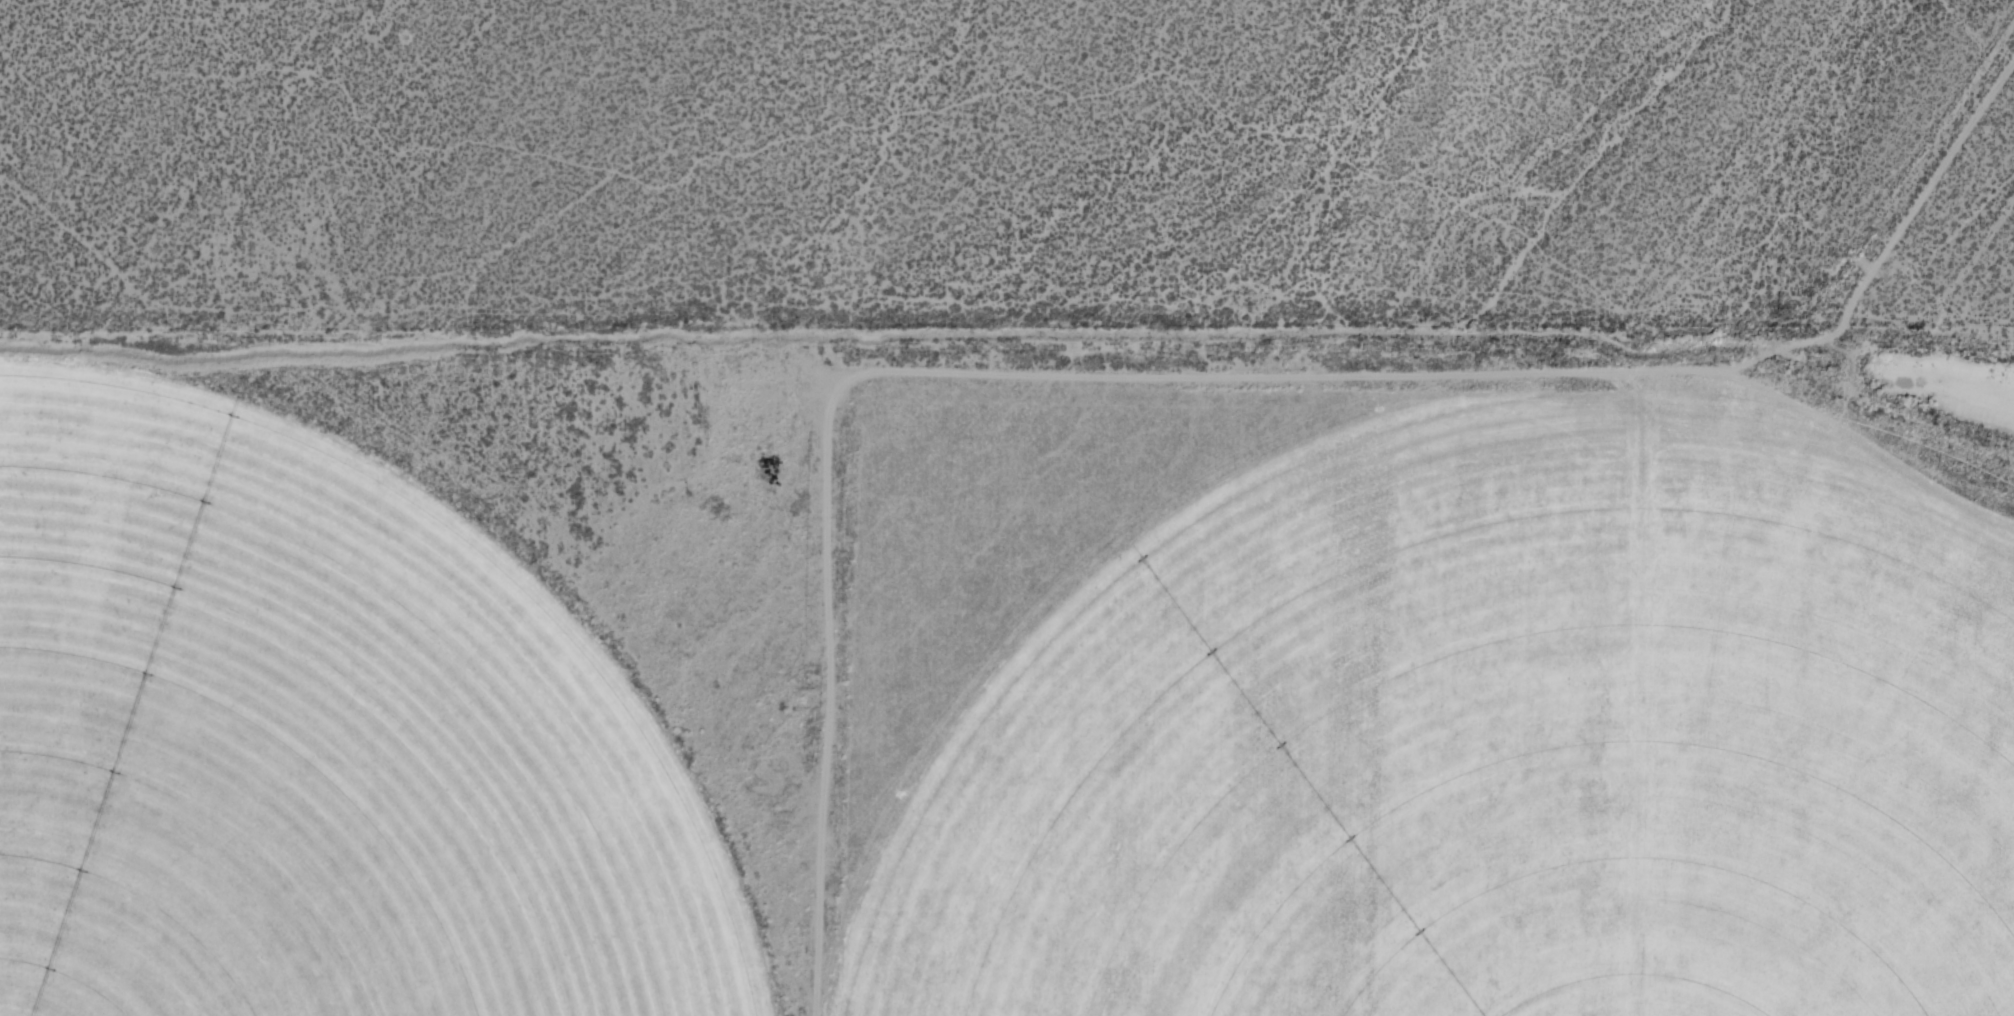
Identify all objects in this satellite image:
road: (1950, 286)
road: (1187, 381)
crop: (1488, 732)
crop: (316, 741)

